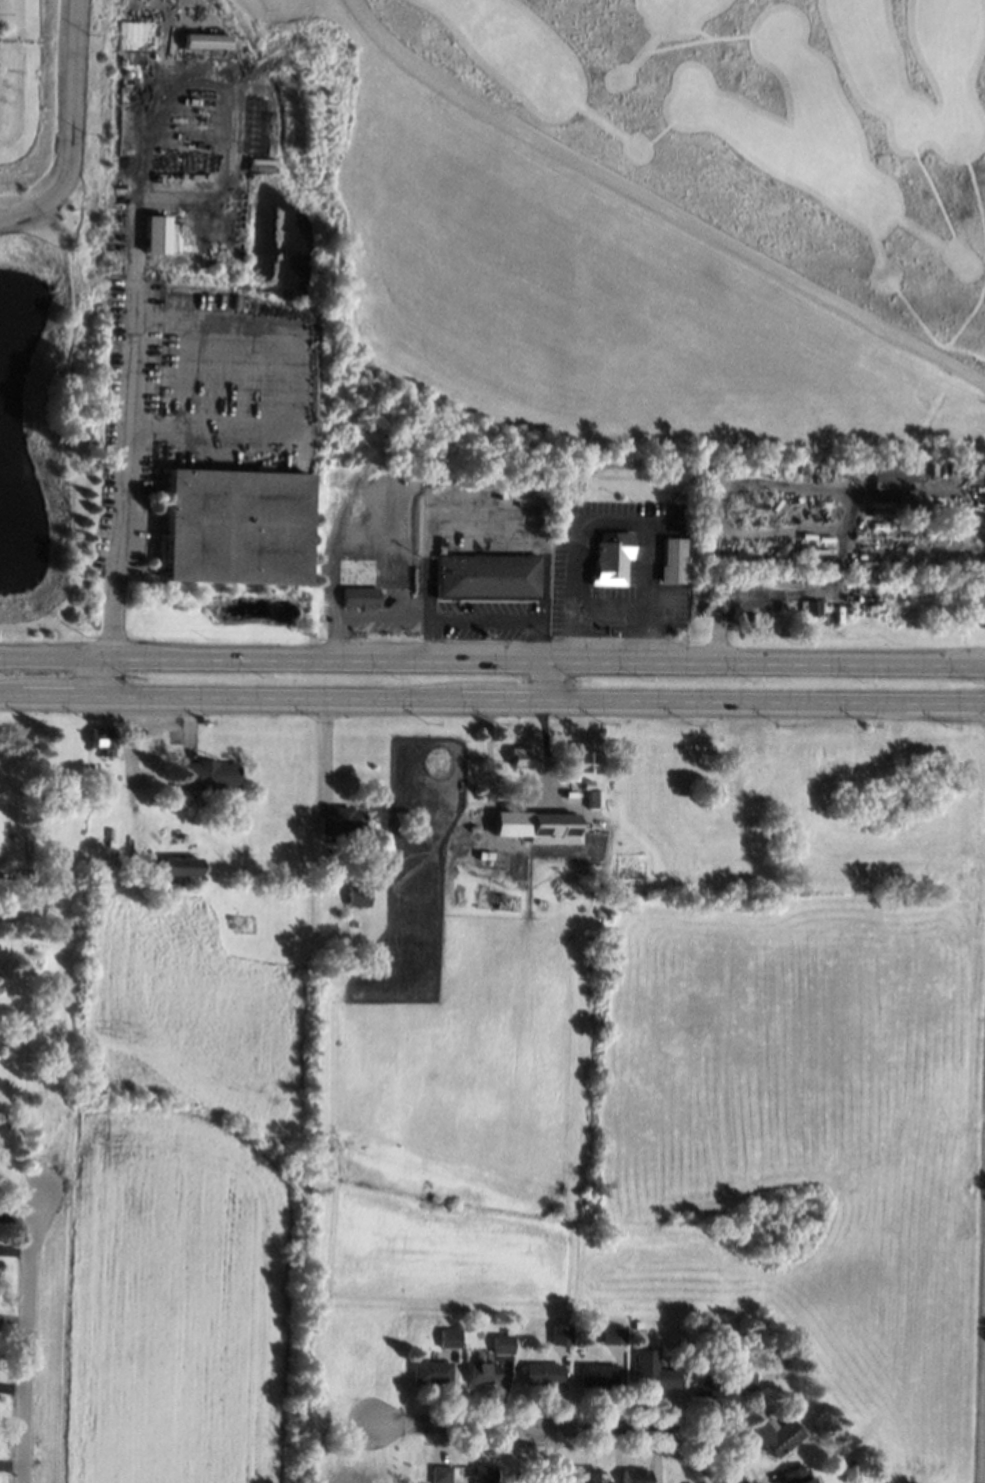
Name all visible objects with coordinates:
building: (131, 34)
building: (205, 42)
road: (64, 126)
road: (657, 204)
building: (154, 234)
parking lot: (130, 429)
road: (128, 451)
building: (893, 473)
building: (235, 526)
road: (651, 550)
road: (578, 557)
building: (610, 558)
building: (671, 561)
building: (485, 576)
building: (359, 597)
road: (616, 603)
building: (810, 607)
road: (651, 614)
road: (484, 619)
road: (431, 639)
road: (537, 640)
road: (492, 660)
road: (552, 683)
road: (492, 704)
building: (102, 739)
road: (327, 755)
building: (519, 755)
building: (578, 761)
building: (41, 768)
building: (207, 773)
building: (585, 783)
building: (592, 798)
building: (341, 821)
building: (551, 823)
building: (177, 834)
building: (164, 866)
building: (40, 872)
building: (358, 895)
building: (33, 934)
crop: (535, 1107)
building: (636, 1323)
building: (560, 1334)
building: (610, 1335)
road: (26, 1337)
building: (448, 1337)
building: (397, 1339)
building: (500, 1346)
building: (482, 1356)
building: (786, 1362)
building: (653, 1370)
building: (430, 1371)
building: (481, 1372)
building: (541, 1373)
building: (596, 1373)
building: (744, 1374)
building: (714, 1392)
road: (550, 1428)
building: (776, 1435)
road: (537, 1455)
building: (440, 1474)
building: (483, 1474)
building: (586, 1474)
road: (729, 1474)
building: (635, 1475)
building: (796, 1475)

